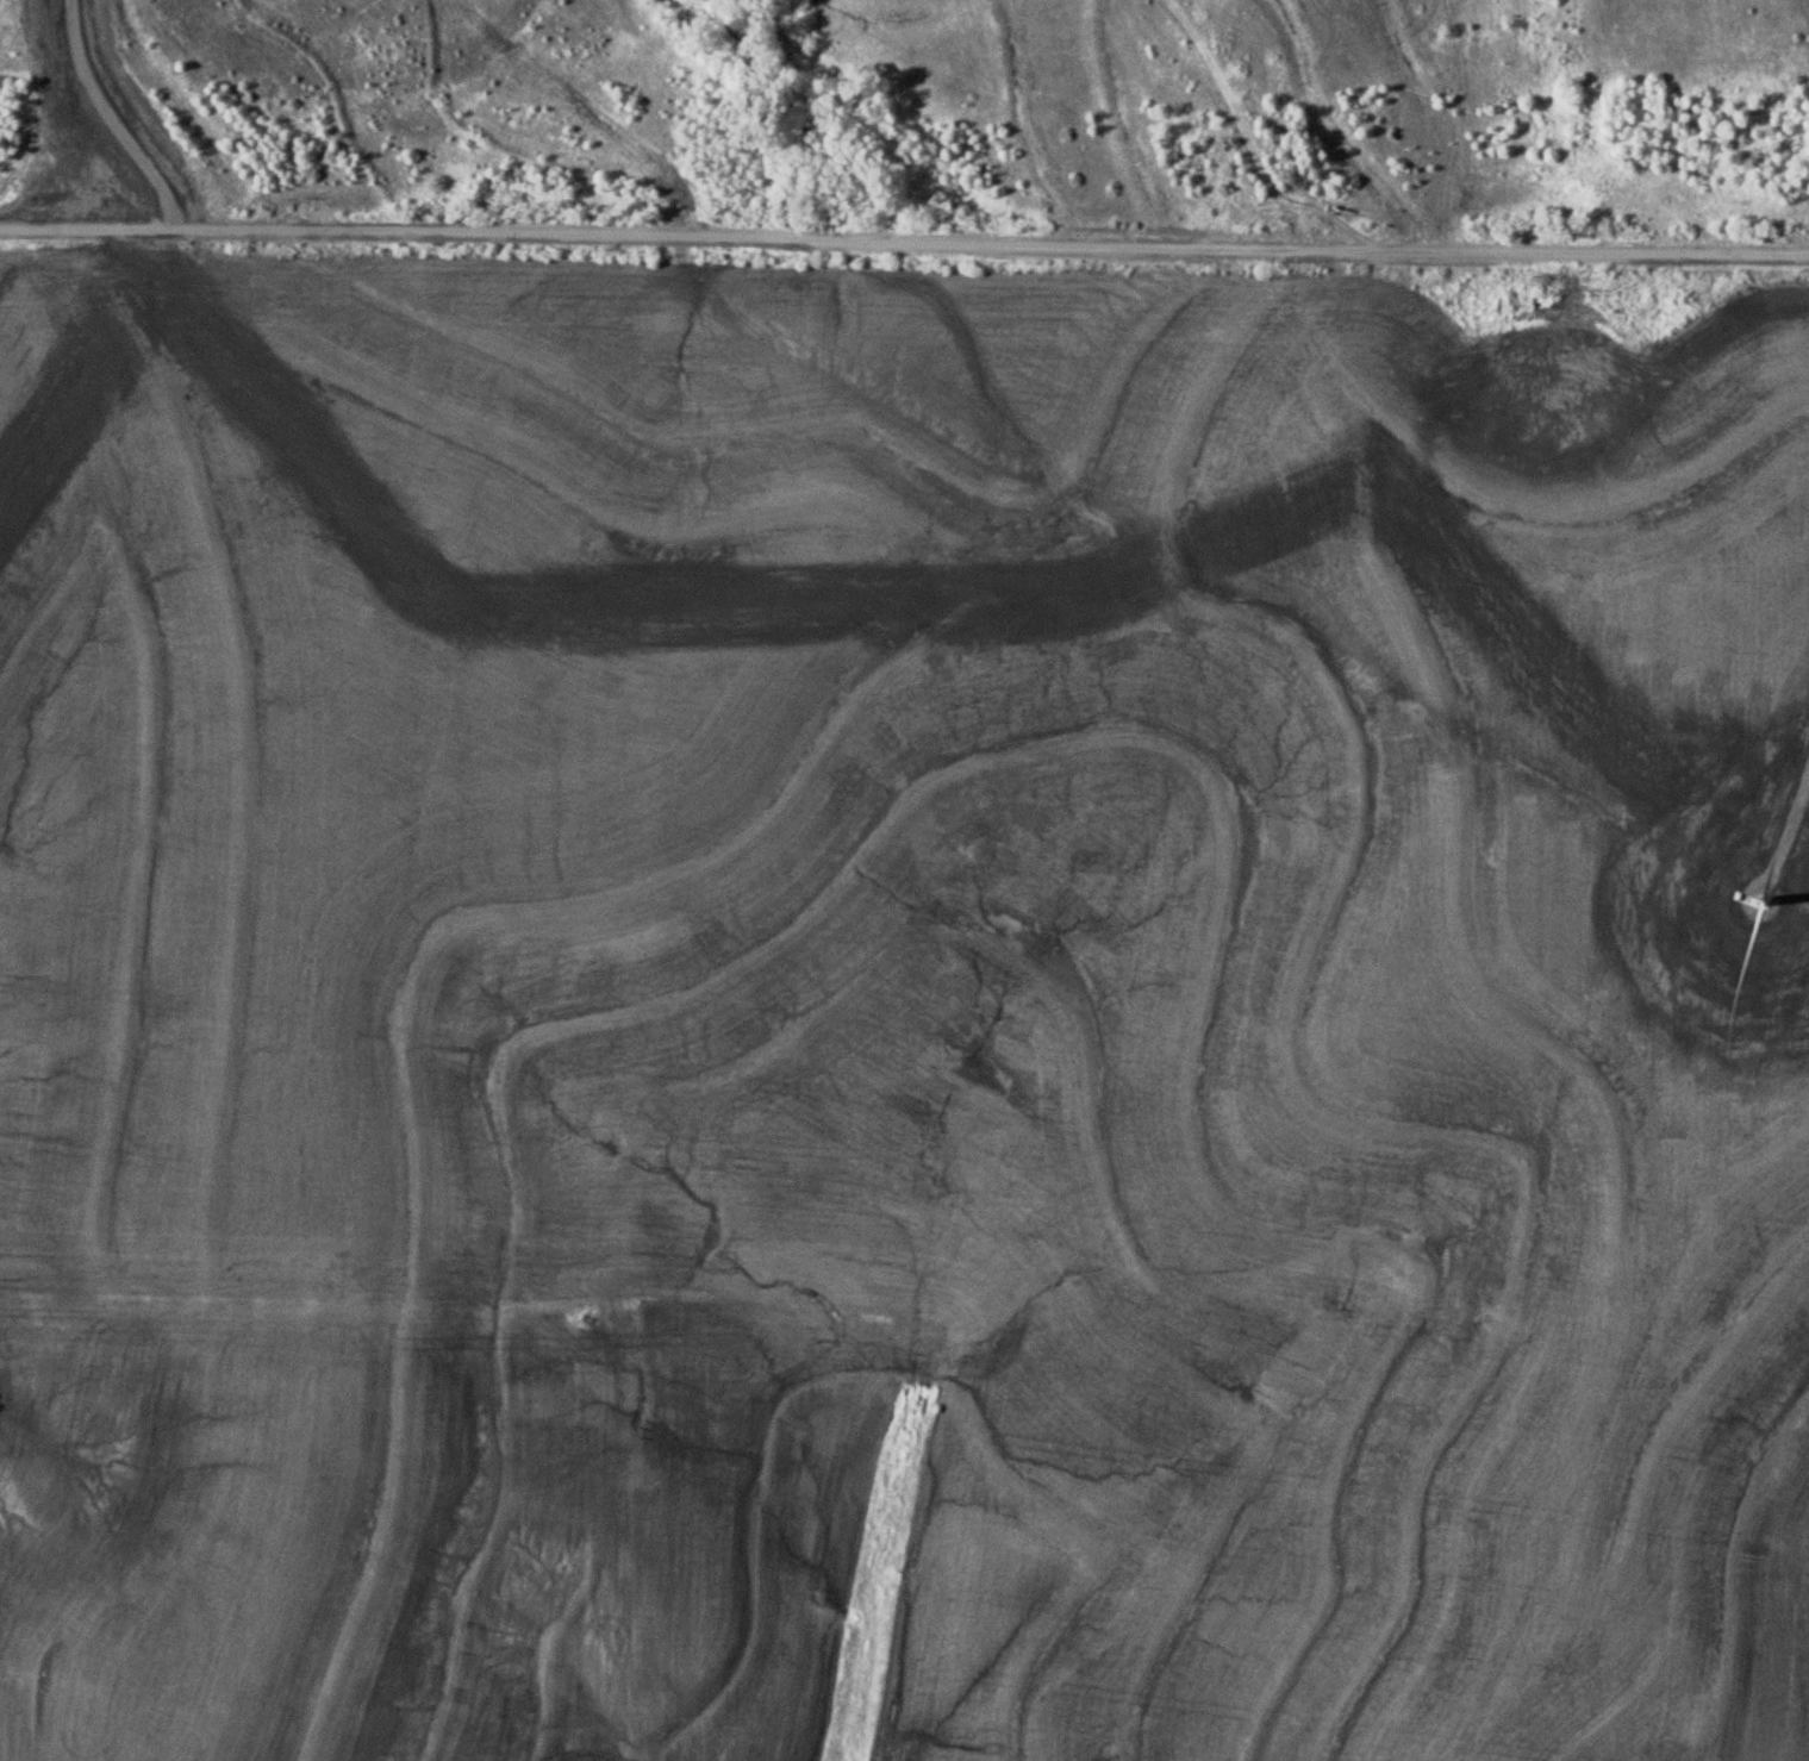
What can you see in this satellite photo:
road: (904, 237)
wind turbine: (1752, 901)

